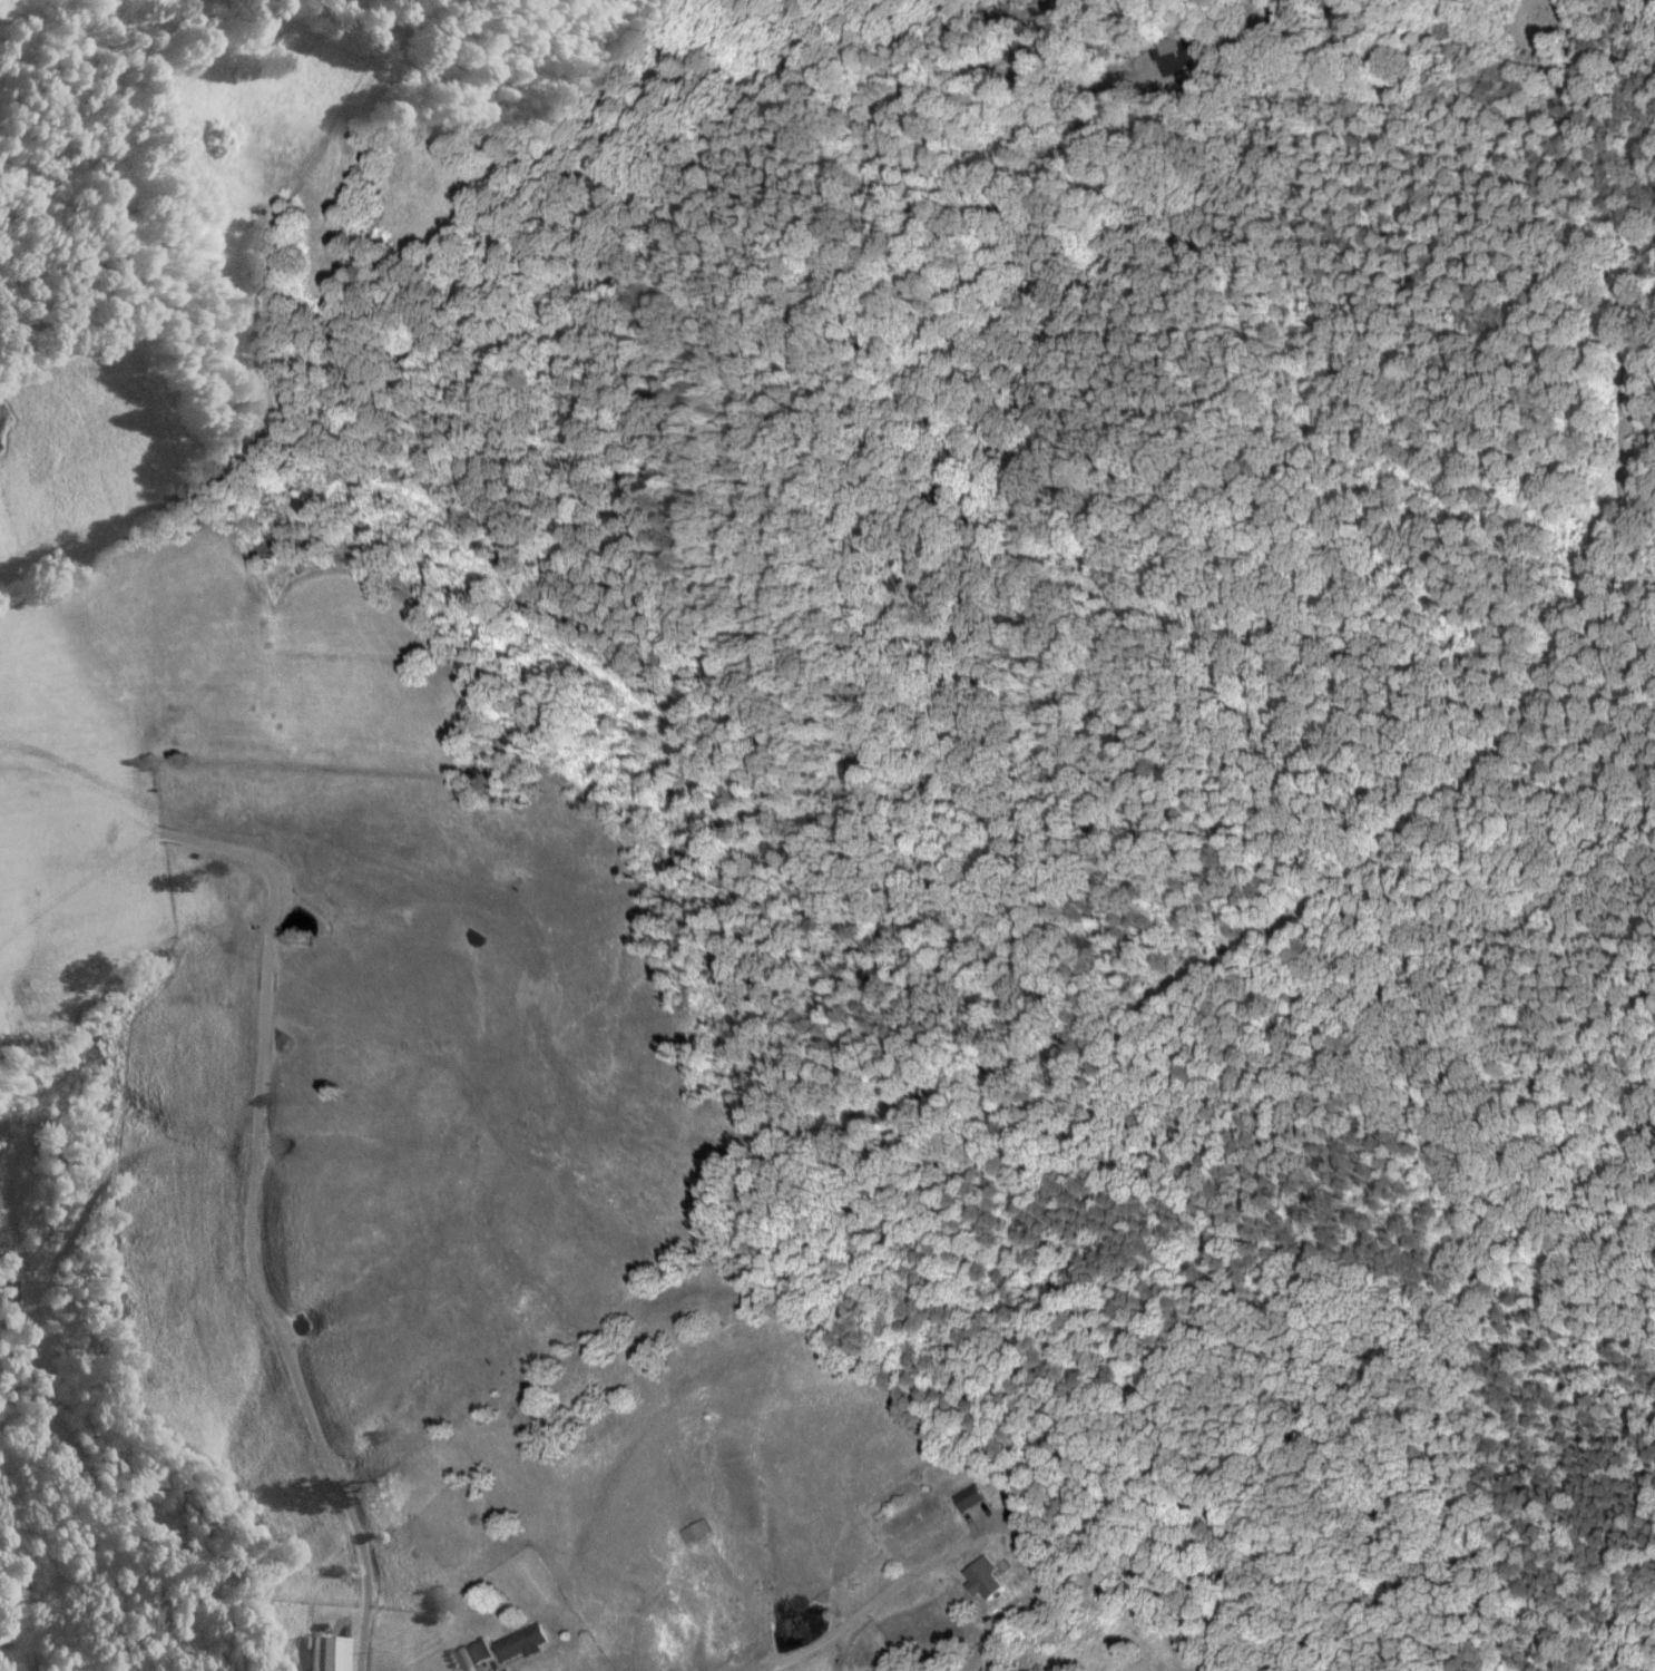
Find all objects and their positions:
building: (1173, 56)
building: (968, 1496)
building: (985, 1575)
building: (521, 1642)
building: (326, 1652)
building: (476, 1652)

